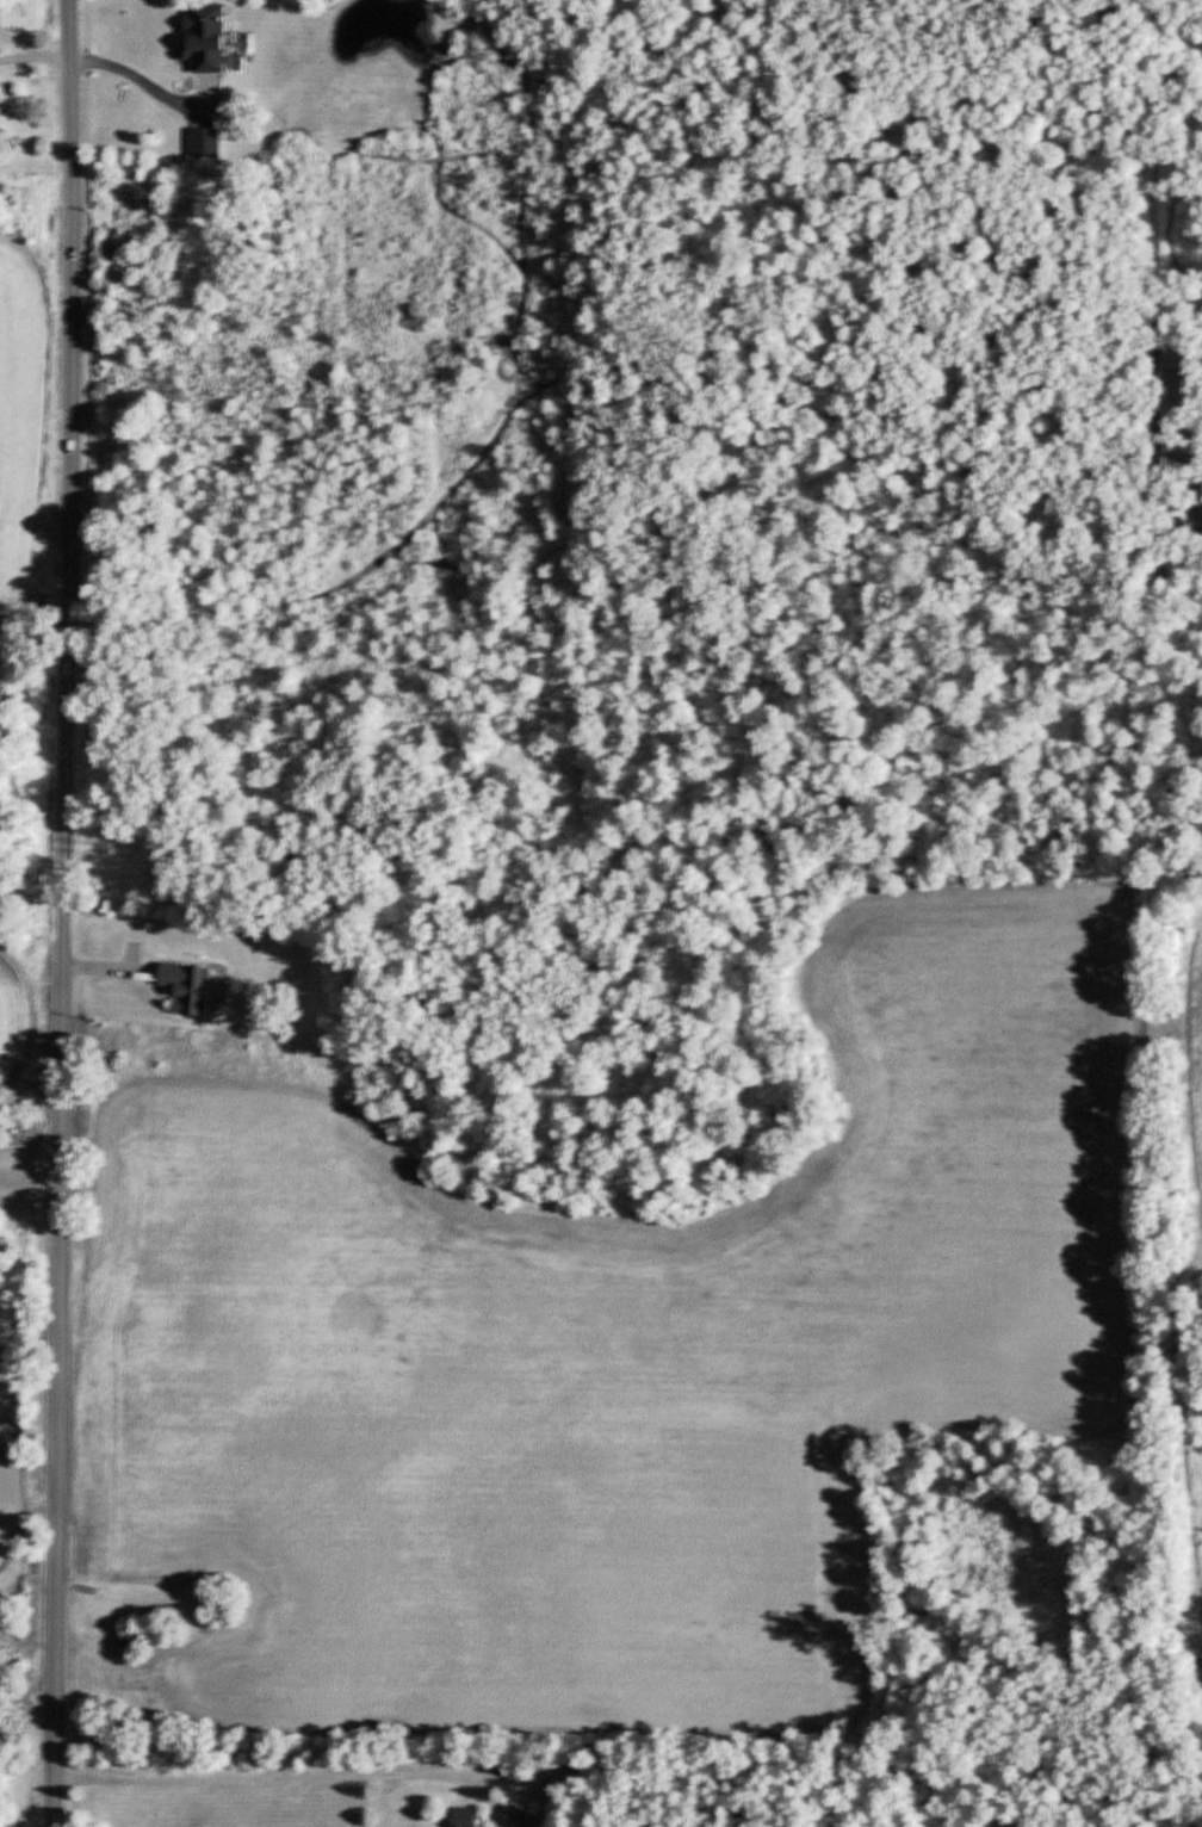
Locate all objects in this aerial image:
building: (206, 37)
road: (21, 41)
road: (51, 52)
road: (20, 56)
road: (125, 72)
building: (205, 142)
road: (62, 912)
building: (188, 986)
building: (126, 1636)
road: (258, 1776)
building: (461, 1815)

